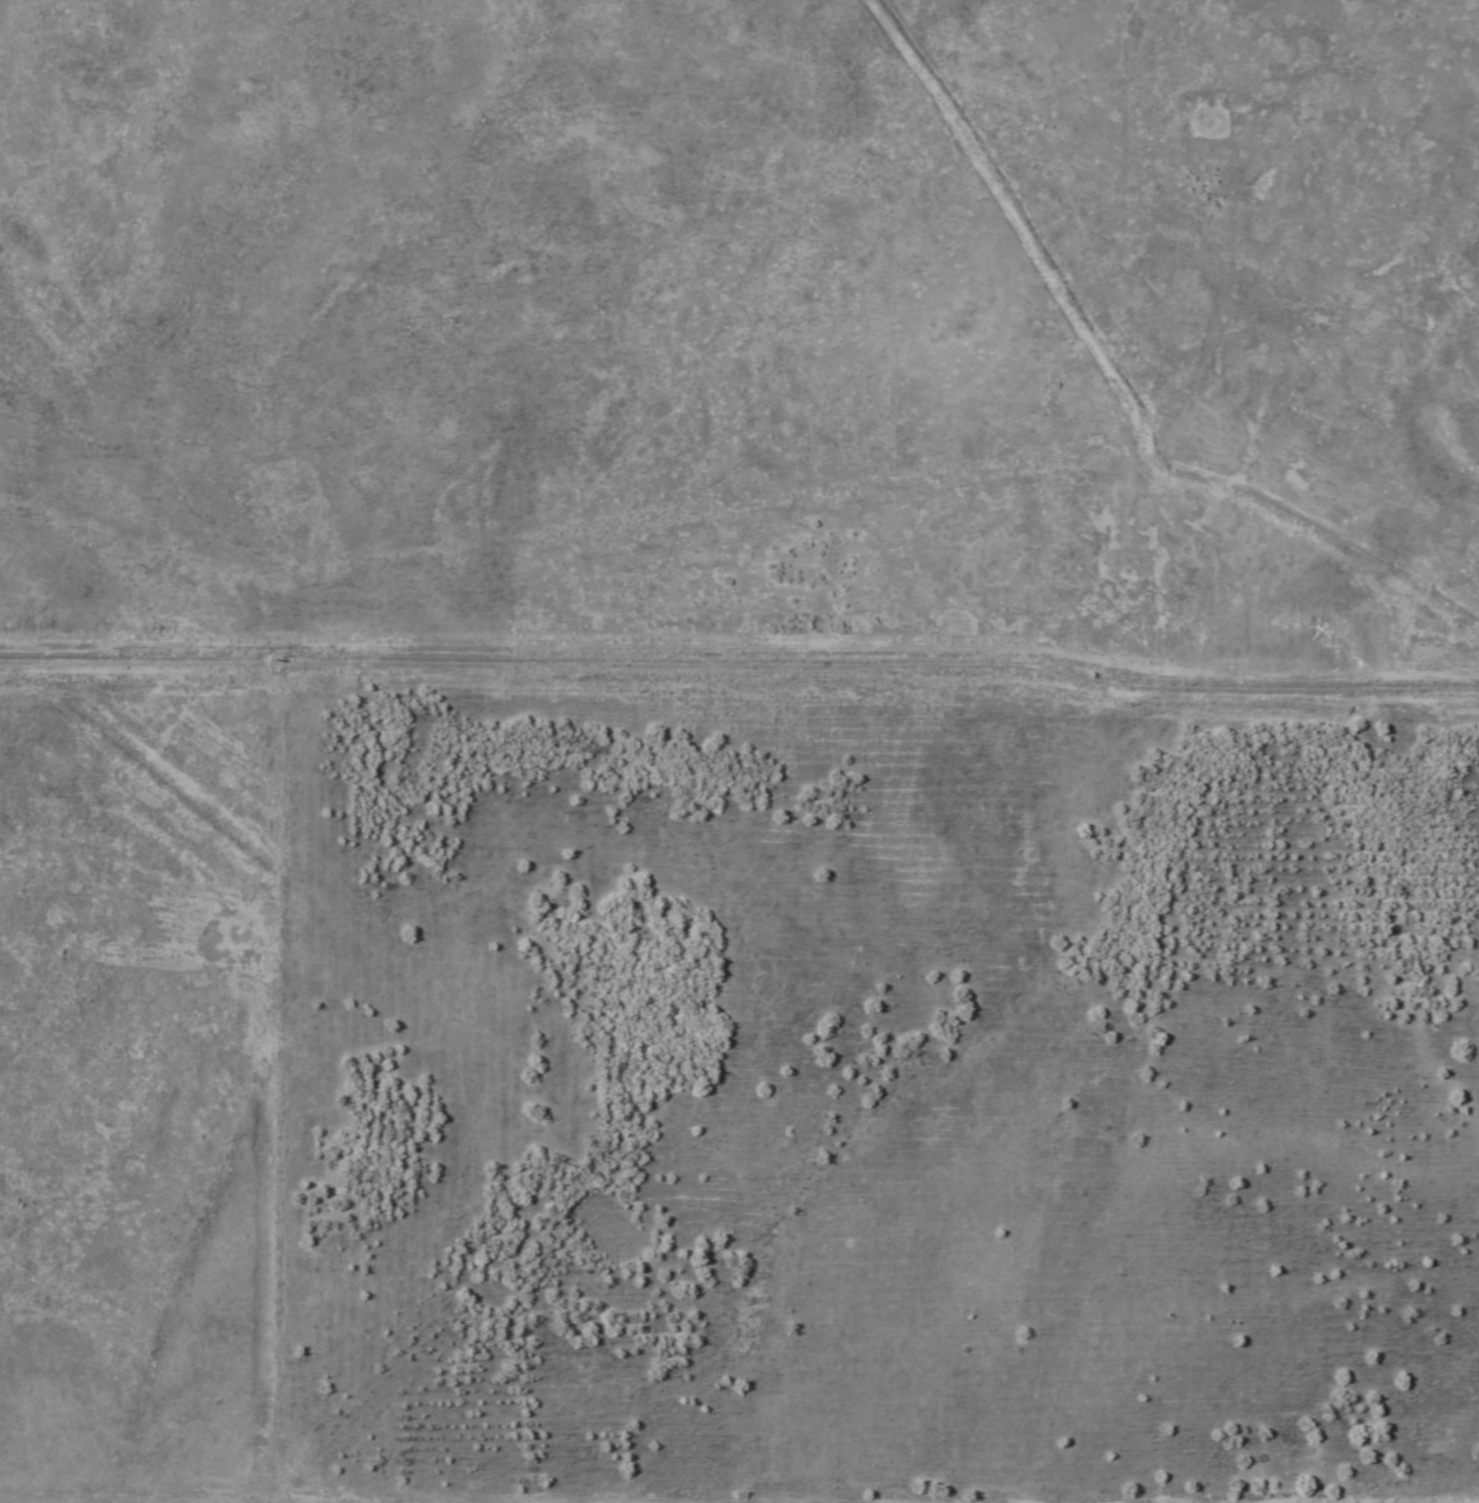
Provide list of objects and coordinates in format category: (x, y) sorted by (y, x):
road: (48, 1243)

